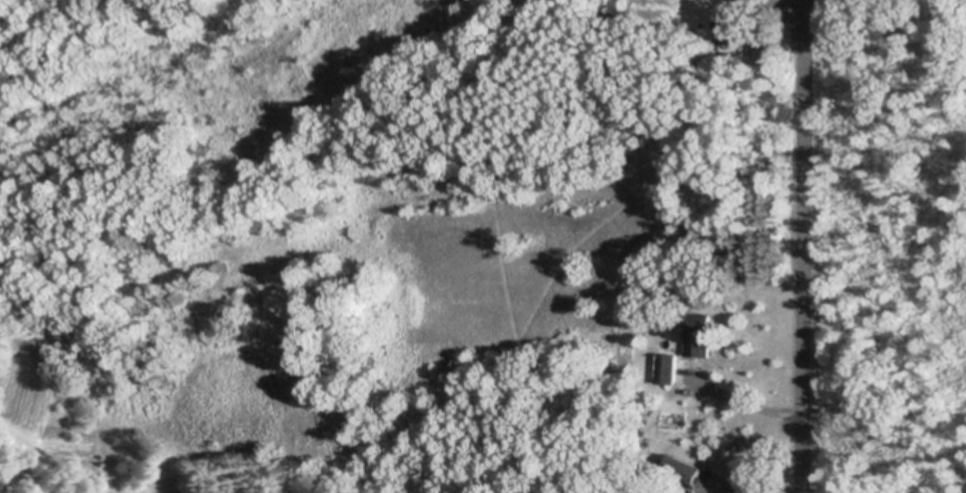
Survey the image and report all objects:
building: (746, 0)
building: (728, 28)
road: (801, 246)
quarry: (910, 251)
building: (644, 276)
building: (682, 295)
building: (700, 334)
building: (668, 367)
building: (686, 468)
building: (690, 492)

